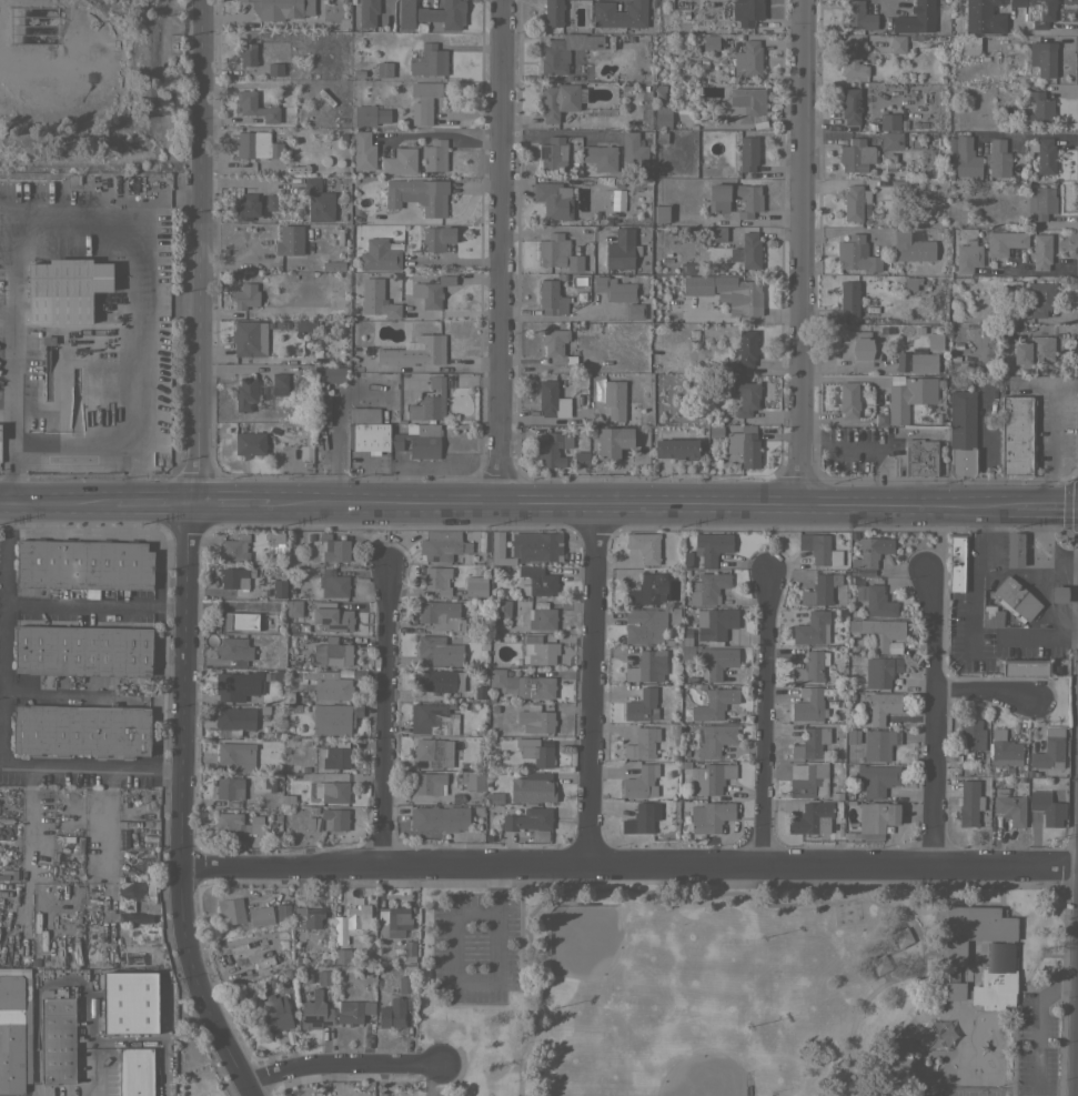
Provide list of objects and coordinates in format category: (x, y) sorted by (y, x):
building: (280, 8)
building: (1038, 10)
building: (366, 11)
building: (746, 11)
building: (554, 12)
building: (432, 13)
building: (619, 13)
building: (858, 16)
building: (983, 17)
building: (914, 18)
building: (711, 42)
building: (897, 43)
building: (969, 44)
building: (565, 50)
building: (246, 53)
building: (1041, 57)
building: (748, 58)
building: (853, 59)
building: (429, 60)
building: (274, 68)
building: (383, 69)
building: (557, 100)
building: (421, 101)
building: (850, 104)
building: (248, 105)
building: (745, 105)
building: (1039, 108)
building: (370, 114)
building: (662, 119)
building: (889, 121)
building: (634, 122)
road: (551, 131)
road: (1037, 133)
road: (442, 134)
building: (659, 137)
building: (890, 140)
building: (259, 147)
building: (363, 150)
building: (633, 150)
building: (553, 152)
building: (747, 152)
building: (434, 154)
building: (1044, 154)
building: (856, 155)
building: (600, 157)
building: (966, 157)
building: (998, 158)
building: (400, 160)
building: (889, 162)
building: (897, 187)
building: (417, 194)
building: (854, 199)
building: (318, 200)
building: (553, 200)
building: (1039, 201)
building: (270, 202)
building: (717, 202)
building: (245, 205)
building: (658, 213)
road: (48, 222)
building: (717, 233)
building: (437, 237)
building: (289, 240)
building: (1004, 241)
building: (911, 247)
building: (619, 249)
building: (749, 249)
building: (1040, 251)
road: (497, 252)
building: (557, 252)
road: (792, 252)
road: (193, 253)
building: (856, 253)
building: (379, 254)
building: (967, 255)
building: (330, 265)
road: (1031, 272)
building: (64, 289)
building: (614, 289)
building: (430, 291)
building: (244, 295)
building: (551, 298)
building: (742, 298)
building: (848, 298)
building: (1039, 298)
building: (376, 299)
building: (634, 311)
building: (280, 324)
building: (303, 324)
building: (1003, 335)
building: (249, 339)
building: (935, 341)
building: (554, 343)
building: (745, 346)
building: (859, 348)
building: (1034, 350)
building: (415, 351)
building: (900, 361)
building: (923, 362)
road: (430, 366)
building: (330, 374)
building: (279, 384)
building: (244, 394)
building: (909, 396)
building: (614, 398)
building: (745, 398)
building: (848, 399)
building: (551, 400)
building: (429, 402)
building: (321, 413)
building: (363, 414)
road: (550, 420)
building: (961, 431)
road: (337, 435)
building: (1017, 435)
building: (367, 438)
building: (419, 440)
building: (612, 441)
road: (105, 443)
building: (249, 444)
road: (864, 444)
building: (306, 446)
building: (744, 446)
building: (552, 448)
building: (675, 449)
building: (580, 457)
building: (918, 457)
road: (14, 472)
road: (134, 475)
road: (527, 504)
road: (901, 505)
road: (1047, 505)
road: (56, 506)
road: (150, 506)
road: (229, 506)
building: (273, 539)
road: (1035, 541)
building: (442, 544)
building: (536, 545)
building: (645, 545)
building: (711, 546)
building: (816, 546)
building: (333, 547)
building: (235, 549)
building: (1014, 549)
building: (870, 551)
building: (498, 553)
building: (957, 561)
building: (82, 564)
road: (1038, 577)
building: (436, 579)
road: (976, 579)
building: (240, 581)
building: (537, 581)
building: (332, 582)
building: (279, 585)
building: (475, 585)
building: (707, 587)
building: (820, 589)
building: (647, 590)
building: (1058, 594)
road: (1, 599)
building: (1016, 599)
building: (875, 600)
building: (294, 607)
building: (502, 607)
road: (93, 613)
building: (441, 614)
building: (674, 615)
building: (332, 617)
building: (541, 617)
building: (991, 617)
building: (240, 623)
building: (642, 624)
building: (715, 624)
building: (812, 627)
building: (877, 631)
road: (1038, 636)
building: (480, 640)
building: (82, 650)
building: (233, 650)
building: (440, 650)
building: (537, 651)
building: (331, 652)
building: (684, 653)
building: (717, 660)
building: (647, 666)
building: (1025, 666)
building: (808, 667)
building: (881, 670)
building: (276, 676)
building: (434, 680)
building: (319, 683)
building: (522, 684)
road: (592, 684)
building: (238, 685)
building: (701, 686)
road: (49, 693)
building: (478, 693)
road: (981, 693)
building: (713, 704)
building: (807, 704)
building: (642, 705)
building: (881, 705)
road: (383, 716)
road: (931, 716)
building: (334, 717)
building: (890, 717)
road: (762, 718)
building: (233, 720)
building: (432, 720)
building: (534, 720)
building: (80, 730)
building: (852, 735)
building: (713, 738)
building: (970, 740)
building: (642, 742)
building: (809, 743)
building: (879, 743)
building: (1005, 746)
building: (535, 750)
building: (1048, 750)
building: (433, 752)
building: (235, 755)
building: (334, 755)
road: (89, 770)
building: (711, 777)
building: (808, 778)
building: (875, 778)
building: (472, 780)
building: (641, 781)
building: (429, 783)
building: (268, 784)
building: (532, 787)
building: (230, 790)
building: (331, 791)
building: (494, 797)
building: (969, 803)
building: (1009, 806)
road: (180, 807)
building: (1046, 807)
building: (709, 816)
building: (334, 817)
building: (439, 817)
building: (527, 818)
building: (641, 818)
building: (810, 818)
building: (3, 820)
building: (874, 820)
building: (236, 823)
building: (308, 823)
road: (627, 865)
building: (149, 886)
road: (734, 895)
building: (128, 903)
building: (230, 911)
building: (282, 912)
building: (260, 915)
building: (308, 916)
building: (356, 918)
building: (391, 918)
building: (971, 928)
building: (901, 937)
park: (583, 939)
parking lot: (474, 946)
building: (409, 947)
building: (341, 955)
building: (250, 956)
building: (879, 964)
building: (309, 976)
building: (323, 976)
road: (478, 977)
building: (996, 977)
building: (405, 983)
building: (953, 986)
park: (746, 988)
building: (129, 1002)
building: (314, 1010)
building: (353, 1010)
building: (391, 1013)
building: (274, 1014)
road: (1034, 1026)
building: (14, 1029)
building: (57, 1040)
parking lot: (1034, 1043)
road: (340, 1064)
road: (98, 1069)
building: (134, 1070)
park: (702, 1076)
park: (943, 1093)
park: (978, 1093)

